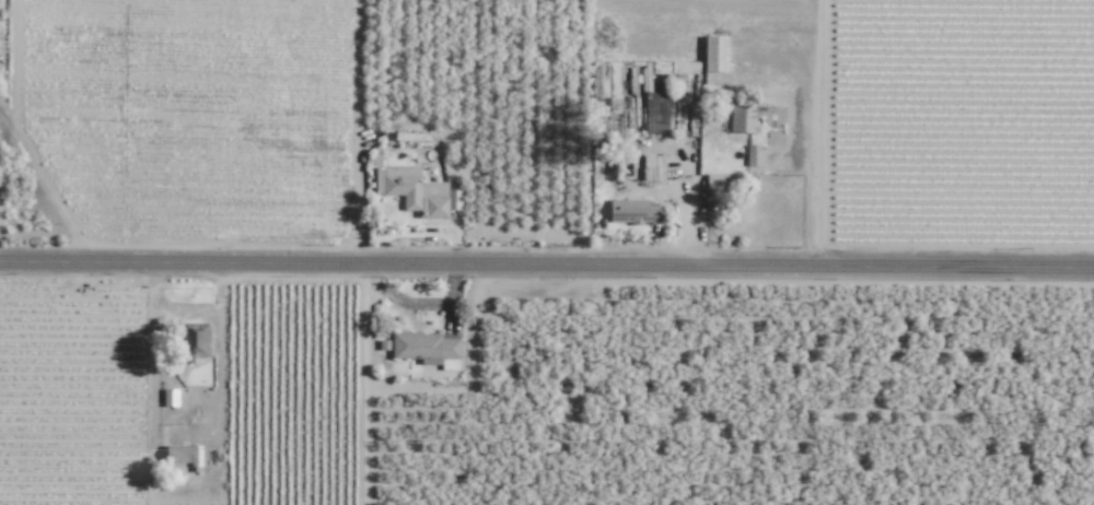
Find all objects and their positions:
building: (714, 54)
building: (743, 118)
road: (359, 133)
road: (815, 133)
building: (753, 155)
building: (653, 167)
road: (688, 180)
building: (417, 191)
building: (635, 212)
road: (546, 267)
building: (193, 342)
building: (427, 351)
crop: (724, 379)
road: (363, 386)
building: (170, 397)
building: (183, 454)

